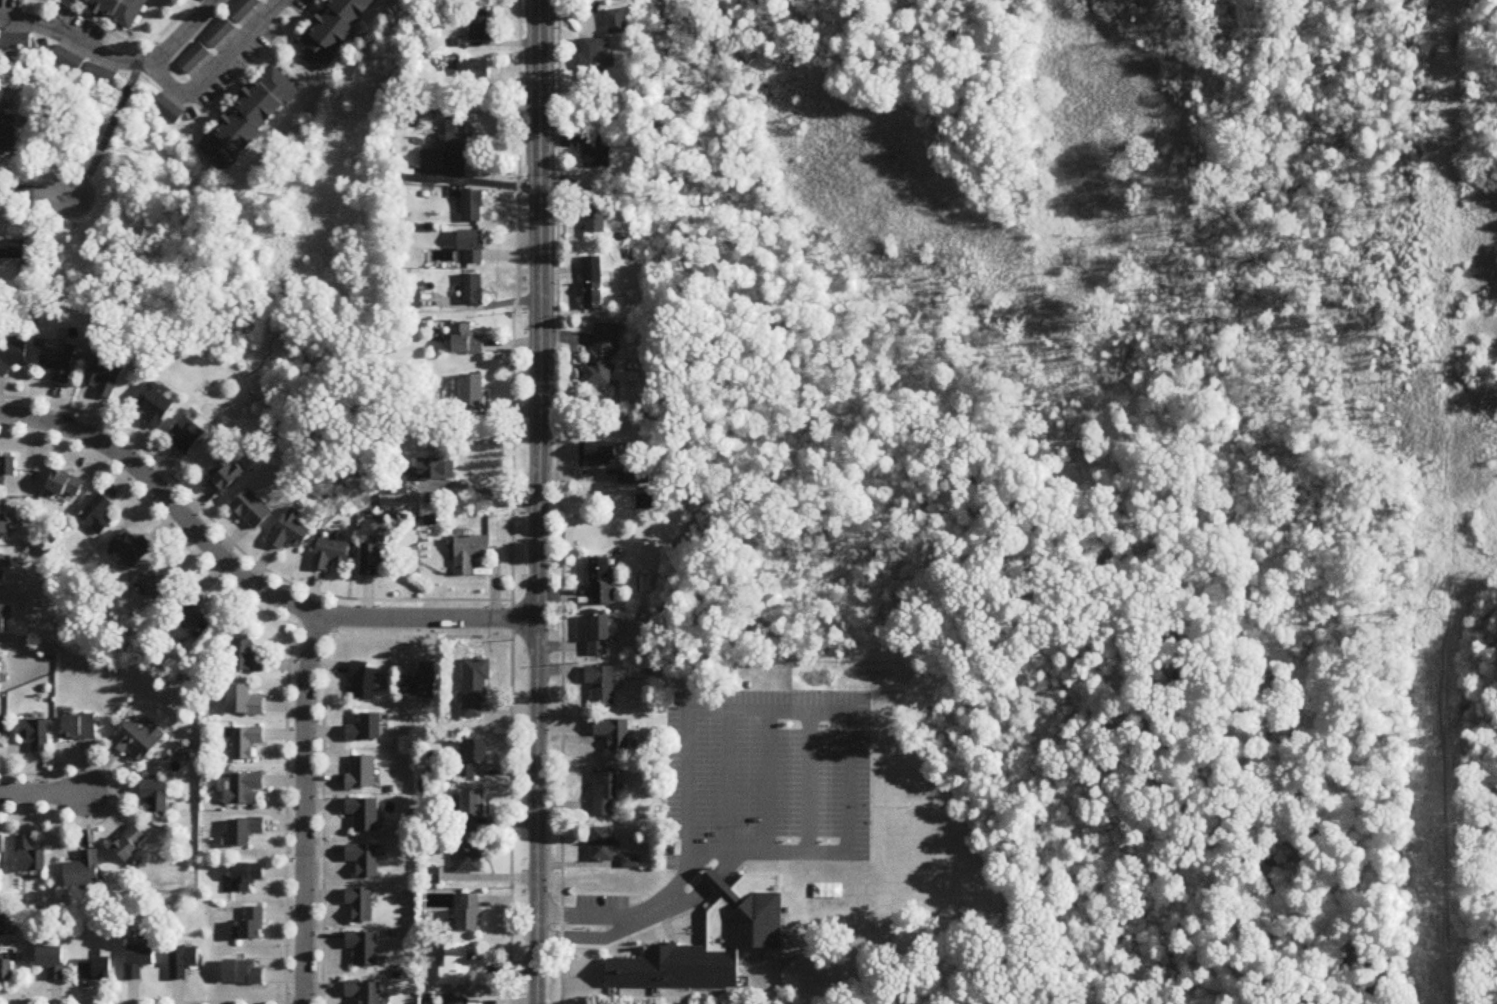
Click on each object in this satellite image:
building: (119, 10)
building: (243, 10)
building: (479, 26)
building: (332, 30)
building: (218, 33)
building: (14, 42)
building: (595, 58)
building: (192, 59)
road: (118, 60)
building: (67, 61)
building: (473, 69)
road: (213, 72)
building: (99, 76)
building: (166, 110)
building: (249, 119)
building: (7, 135)
building: (458, 136)
building: (598, 153)
building: (431, 160)
road: (26, 193)
road: (45, 195)
building: (472, 207)
building: (596, 217)
building: (472, 247)
building: (12, 251)
building: (594, 284)
building: (472, 290)
building: (412, 300)
building: (466, 341)
building: (604, 356)
building: (12, 358)
building: (58, 364)
building: (105, 379)
building: (471, 397)
building: (156, 406)
building: (188, 435)
building: (603, 452)
building: (7, 466)
building: (436, 470)
building: (225, 477)
building: (635, 477)
building: (65, 485)
road: (511, 501)
road: (537, 502)
road: (557, 502)
building: (253, 510)
building: (97, 515)
building: (5, 523)
building: (289, 535)
road: (235, 546)
building: (131, 549)
building: (470, 553)
building: (330, 555)
building: (374, 560)
building: (2, 572)
road: (242, 577)
building: (602, 583)
building: (159, 584)
building: (189, 614)
building: (2, 621)
building: (601, 637)
building: (247, 658)
building: (365, 683)
building: (422, 684)
building: (602, 686)
building: (475, 690)
building: (243, 703)
road: (783, 708)
building: (80, 728)
road: (322, 728)
building: (367, 730)
building: (615, 734)
building: (36, 736)
park: (1459, 739)
building: (139, 743)
building: (246, 743)
building: (473, 757)
road: (285, 774)
building: (362, 775)
road: (728, 779)
road: (768, 779)
road: (850, 781)
building: (243, 789)
road: (117, 790)
road: (41, 793)
building: (605, 794)
building: (157, 797)
road: (303, 808)
building: (469, 811)
building: (365, 815)
building: (244, 832)
building: (131, 845)
building: (604, 846)
building: (1, 854)
building: (29, 857)
building: (468, 858)
building: (365, 861)
road: (729, 863)
building: (84, 871)
building: (245, 877)
road: (712, 879)
building: (713, 880)
road: (680, 904)
building: (361, 906)
building: (468, 914)
road: (593, 916)
building: (3, 924)
building: (251, 926)
road: (595, 937)
building: (710, 939)
building: (364, 950)
building: (138, 961)
building: (51, 962)
building: (182, 963)
building: (454, 967)
building: (96, 971)
building: (6, 973)
building: (242, 974)
building: (365, 993)
building: (457, 1002)
road: (284, 1003)

